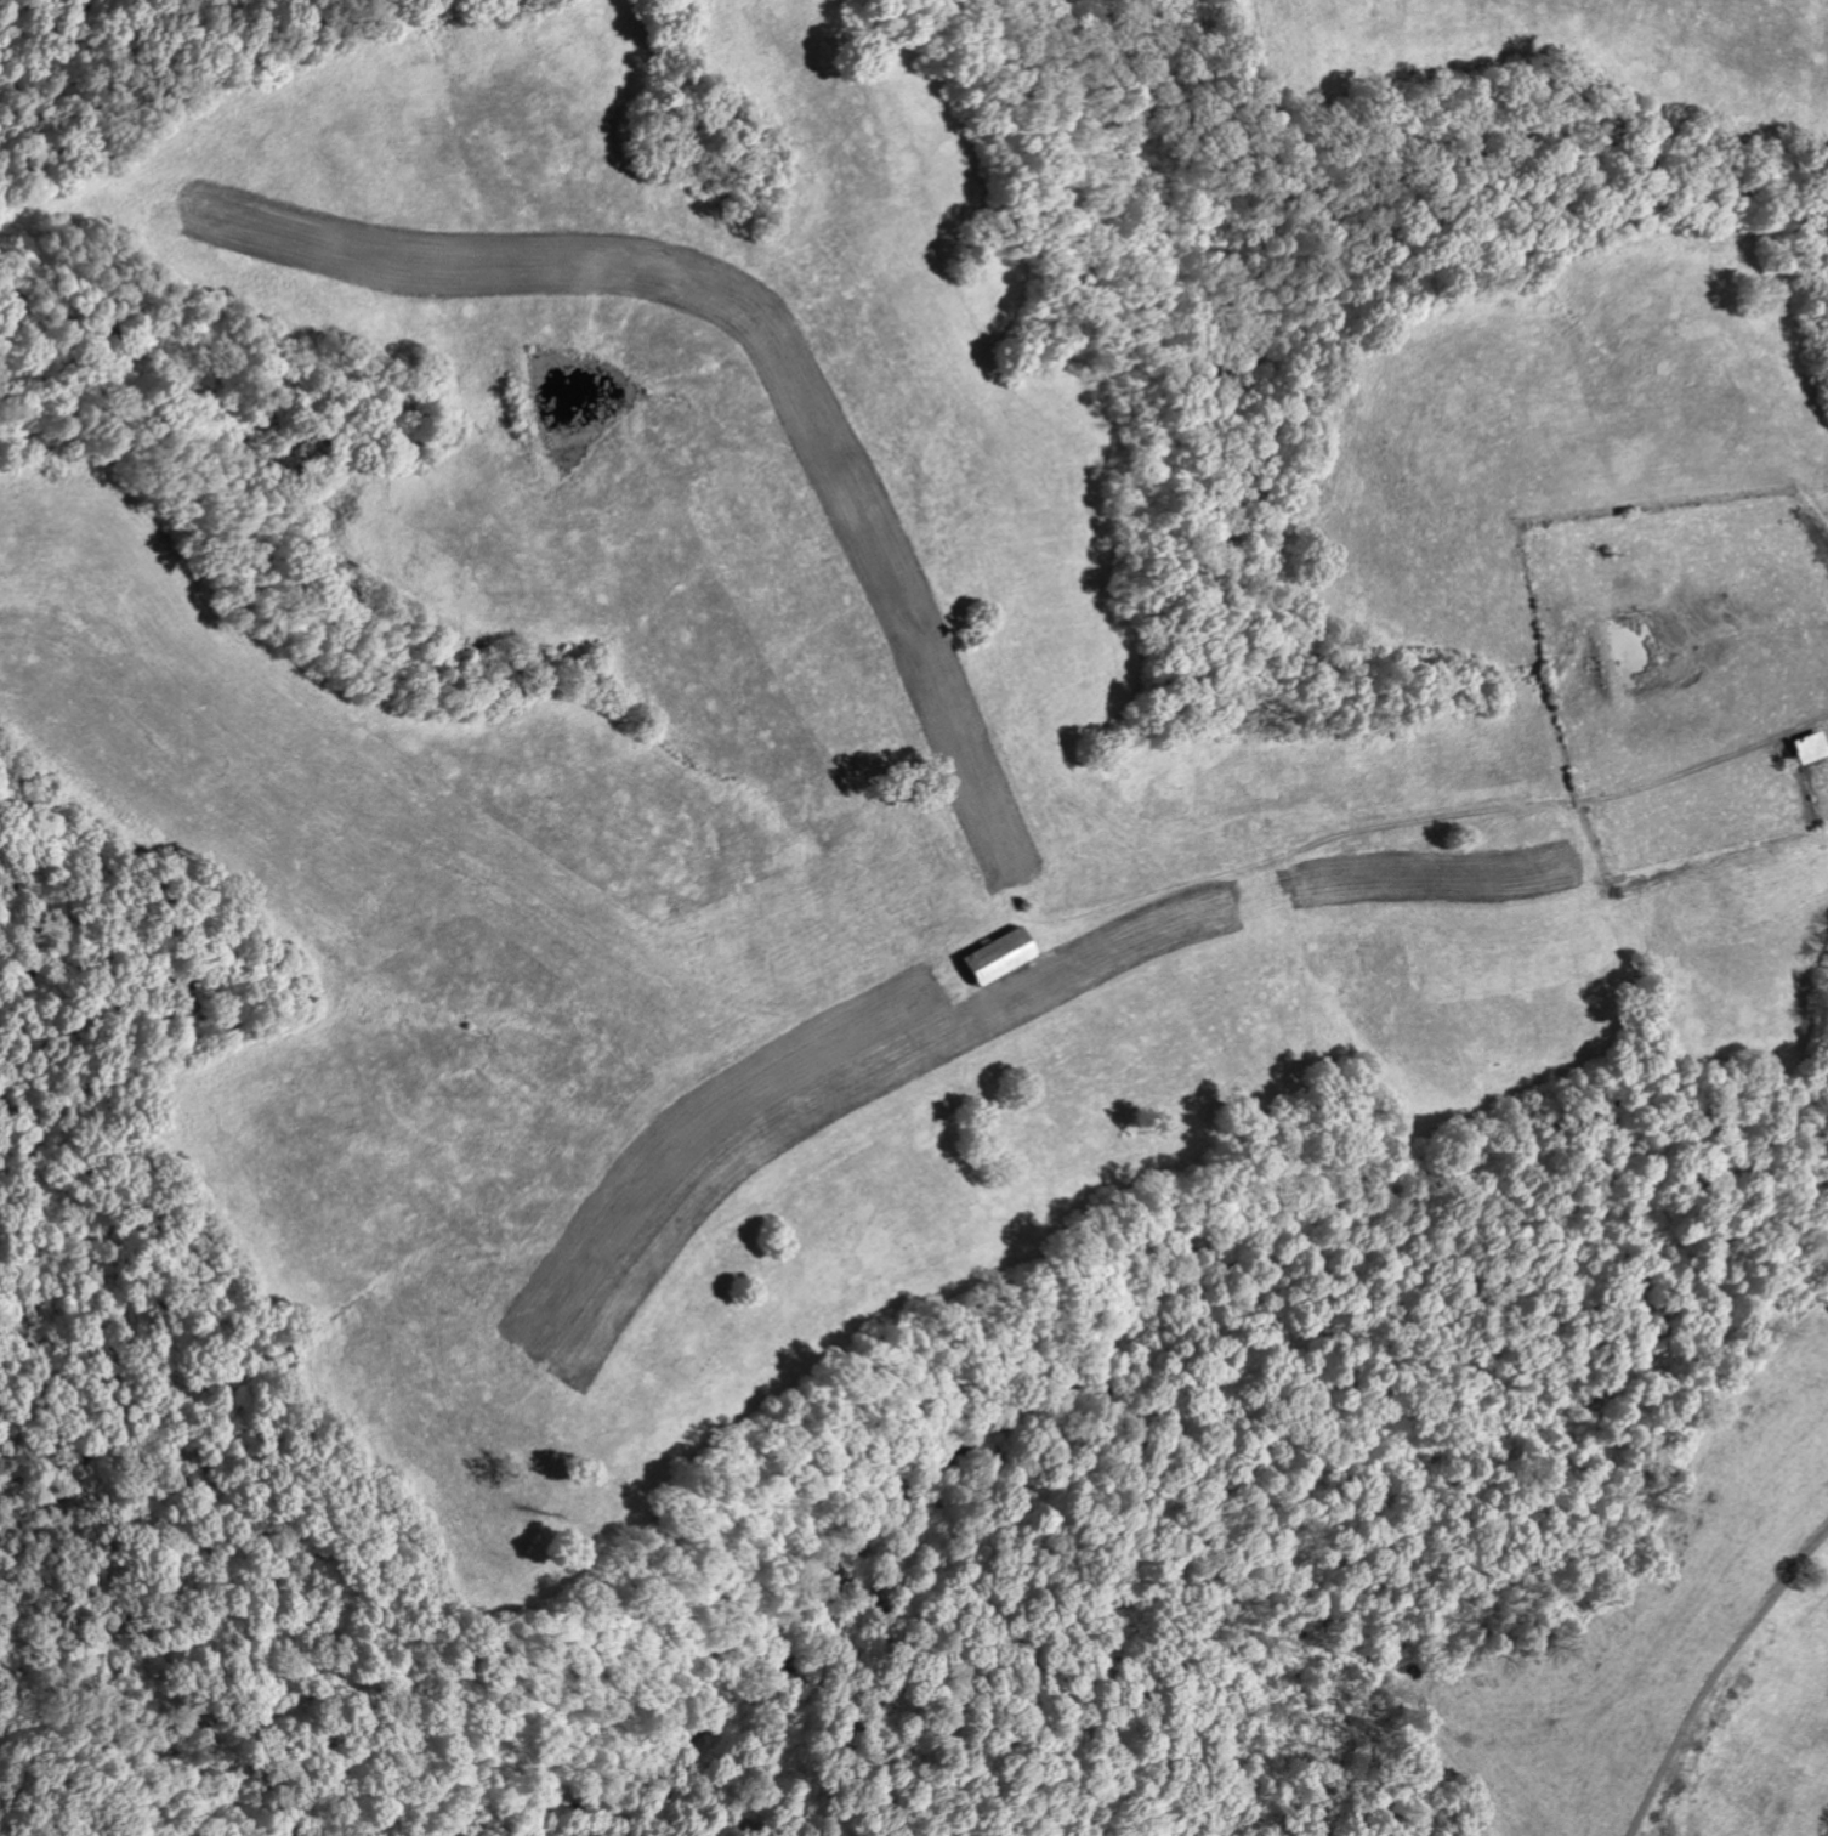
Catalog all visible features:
building: (1811, 750)
road: (1430, 843)
building: (1000, 956)
road: (1720, 1674)

